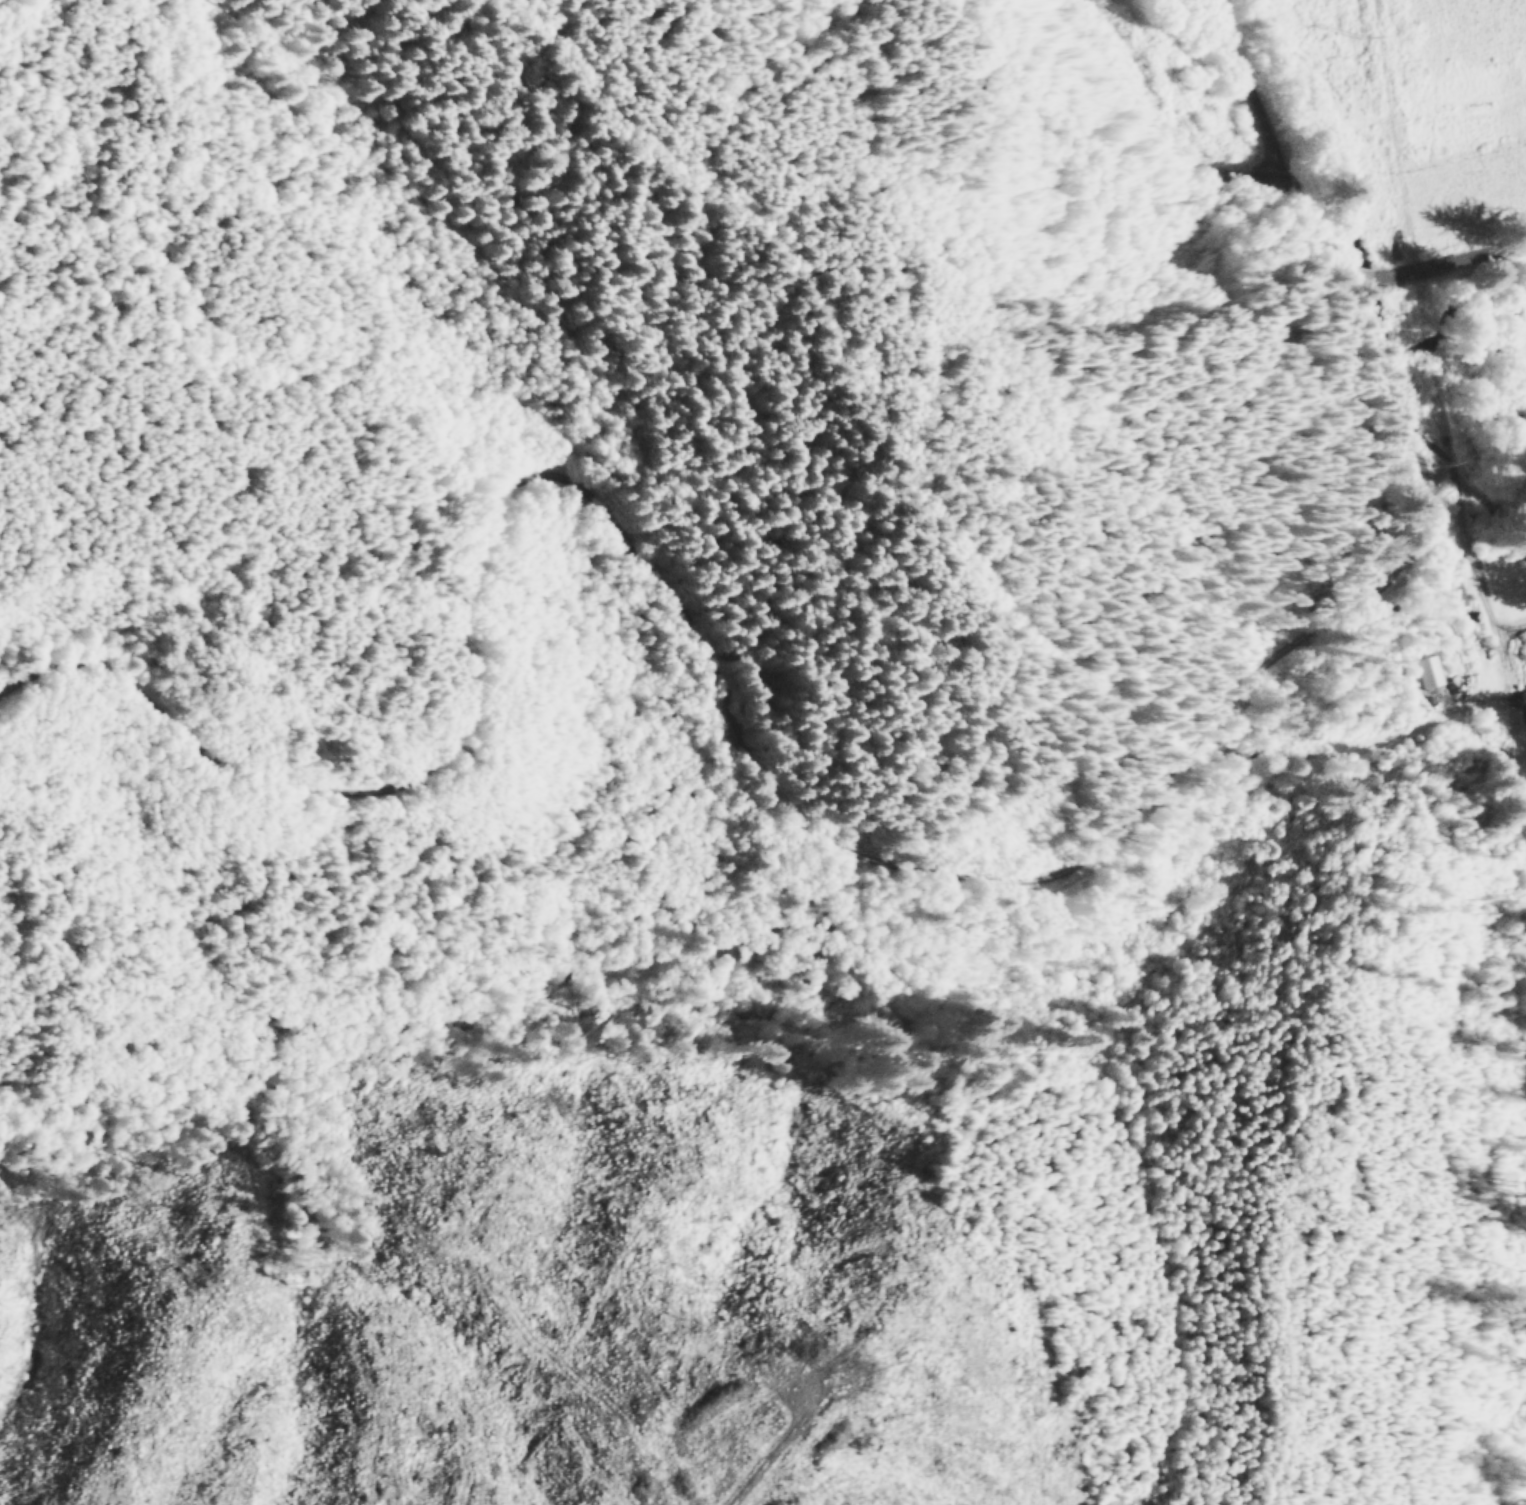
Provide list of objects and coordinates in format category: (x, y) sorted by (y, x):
road: (1165, 138)
road: (1272, 144)
road: (1470, 255)
road: (1394, 270)
road: (1364, 271)
road: (1371, 351)
road: (1434, 447)
road: (1473, 550)
road: (1511, 624)
road: (725, 640)
building: (1427, 669)
road: (1511, 675)
road: (1282, 1323)
road: (780, 1452)

